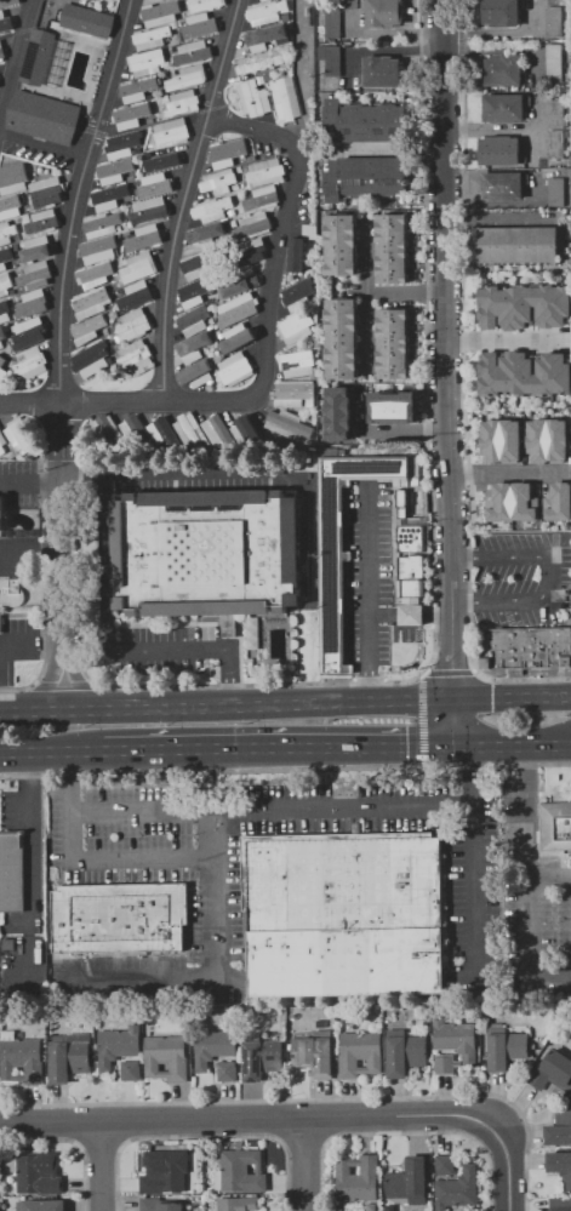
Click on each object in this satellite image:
building: (155, 0)
building: (261, 0)
building: (7, 2)
building: (47, 2)
building: (82, 2)
building: (205, 5)
building: (42, 10)
building: (499, 11)
building: (160, 12)
building: (265, 12)
building: (383, 13)
building: (182, 19)
building: (86, 21)
building: (554, 21)
building: (5, 22)
building: (332, 22)
building: (199, 25)
building: (264, 36)
building: (152, 38)
building: (1, 51)
building: (192, 52)
building: (36, 56)
building: (554, 58)
building: (291, 59)
building: (331, 59)
building: (145, 62)
building: (257, 62)
road: (18, 67)
building: (503, 69)
building: (382, 72)
building: (187, 78)
building: (138, 88)
building: (149, 96)
building: (167, 97)
building: (253, 98)
building: (285, 99)
building: (182, 103)
building: (503, 108)
building: (555, 114)
building: (131, 115)
building: (42, 116)
building: (150, 120)
building: (365, 122)
building: (170, 132)
building: (555, 143)
building: (121, 144)
road: (44, 145)
building: (152, 145)
building: (501, 150)
building: (227, 154)
building: (164, 161)
building: (240, 161)
building: (115, 171)
building: (265, 171)
building: (131, 177)
building: (365, 178)
building: (12, 179)
building: (141, 179)
building: (218, 182)
building: (158, 184)
building: (503, 185)
building: (234, 188)
building: (46, 192)
building: (556, 192)
building: (109, 196)
road: (79, 199)
building: (262, 199)
building: (11, 207)
building: (213, 209)
building: (148, 210)
building: (25, 216)
building: (41, 221)
building: (101, 224)
building: (256, 224)
building: (118, 228)
building: (309, 229)
building: (6, 233)
building: (206, 235)
building: (143, 238)
road: (176, 244)
building: (341, 245)
building: (519, 245)
building: (16, 246)
building: (36, 249)
building: (392, 249)
building: (95, 251)
building: (247, 253)
building: (296, 253)
building: (5, 257)
building: (125, 262)
building: (200, 265)
building: (314, 265)
building: (138, 267)
road: (275, 274)
building: (34, 275)
building: (95, 275)
building: (241, 282)
building: (5, 284)
building: (298, 291)
building: (196, 292)
road: (372, 293)
building: (135, 296)
building: (91, 302)
building: (32, 303)
building: (524, 305)
building: (236, 308)
building: (4, 310)
building: (194, 320)
building: (211, 321)
building: (132, 325)
building: (296, 327)
building: (88, 329)
building: (210, 329)
road: (372, 330)
building: (105, 331)
building: (29, 333)
building: (1, 336)
building: (236, 337)
building: (342, 338)
road: (506, 341)
building: (394, 343)
building: (192, 347)
road: (445, 350)
building: (133, 356)
building: (91, 359)
building: (32, 364)
building: (297, 364)
building: (2, 367)
building: (234, 369)
building: (196, 373)
building: (524, 375)
road: (462, 384)
building: (290, 394)
road: (32, 404)
building: (390, 406)
building: (337, 412)
building: (130, 424)
building: (509, 425)
building: (291, 427)
road: (388, 428)
building: (161, 430)
building: (192, 430)
building: (245, 430)
road: (64, 432)
building: (110, 432)
building: (217, 432)
building: (21, 435)
building: (2, 442)
building: (563, 453)
road: (85, 470)
road: (270, 472)
parking lot: (19, 479)
road: (33, 484)
building: (520, 484)
building: (558, 501)
building: (498, 508)
building: (1, 513)
building: (409, 538)
building: (343, 547)
road: (33, 552)
building: (206, 553)
parking lot: (21, 555)
road: (550, 575)
parking lot: (373, 576)
parking lot: (510, 579)
road: (65, 585)
building: (411, 589)
building: (11, 593)
road: (369, 595)
road: (410, 613)
building: (1, 623)
building: (252, 632)
road: (30, 644)
road: (109, 649)
parking lot: (170, 649)
building: (525, 649)
flagpole: (207, 664)
road: (450, 673)
road: (510, 699)
road: (225, 709)
road: (451, 724)
road: (512, 747)
road: (279, 749)
road: (52, 753)
road: (285, 769)
road: (472, 776)
road: (72, 782)
road: (270, 807)
road: (527, 815)
building: (555, 824)
road: (72, 839)
road: (144, 866)
road: (32, 867)
building: (12, 873)
road: (550, 882)
road: (473, 886)
building: (346, 913)
building: (120, 918)
building: (8, 943)
road: (530, 946)
road: (216, 969)
building: (262, 1017)
building: (364, 1022)
building: (321, 1024)
building: (149, 1028)
building: (39, 1030)
building: (456, 1038)
building: (118, 1045)
building: (290, 1046)
building: (213, 1047)
building: (507, 1050)
building: (285, 1052)
building: (360, 1053)
building: (406, 1053)
building: (315, 1055)
building: (69, 1057)
building: (166, 1057)
building: (22, 1058)
building: (261, 1058)
building: (445, 1063)
building: (484, 1066)
building: (131, 1070)
building: (227, 1070)
building: (552, 1070)
road: (313, 1098)
road: (249, 1118)
building: (559, 1126)
road: (299, 1164)
building: (445, 1164)
road: (503, 1164)
road: (101, 1165)
building: (560, 1166)
building: (242, 1171)
building: (164, 1172)
building: (39, 1175)
building: (358, 1178)
building: (217, 1179)
building: (409, 1181)
building: (457, 1189)
building: (161, 1204)
building: (238, 1204)
building: (560, 1204)
building: (41, 1205)

